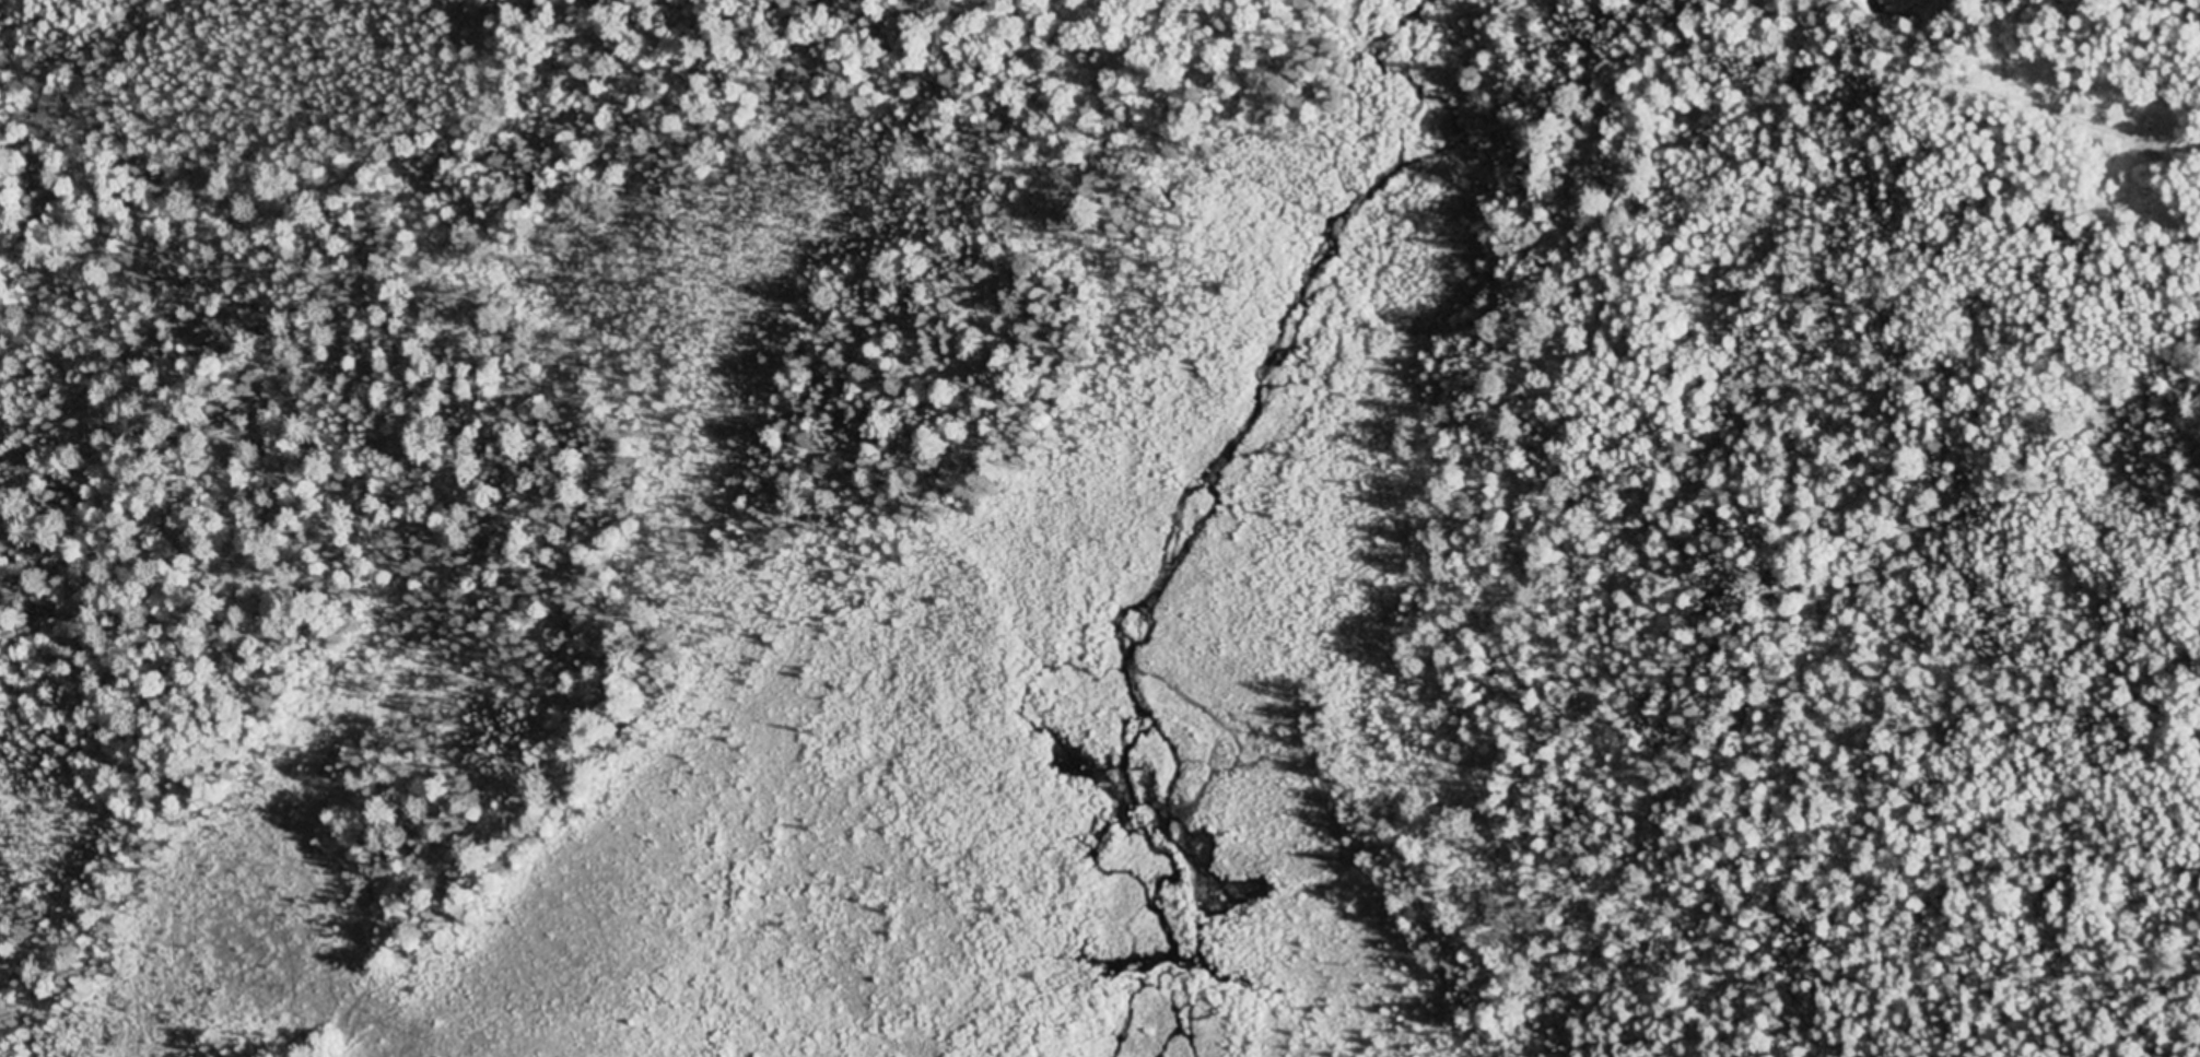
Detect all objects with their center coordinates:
road: (2196, 140)

